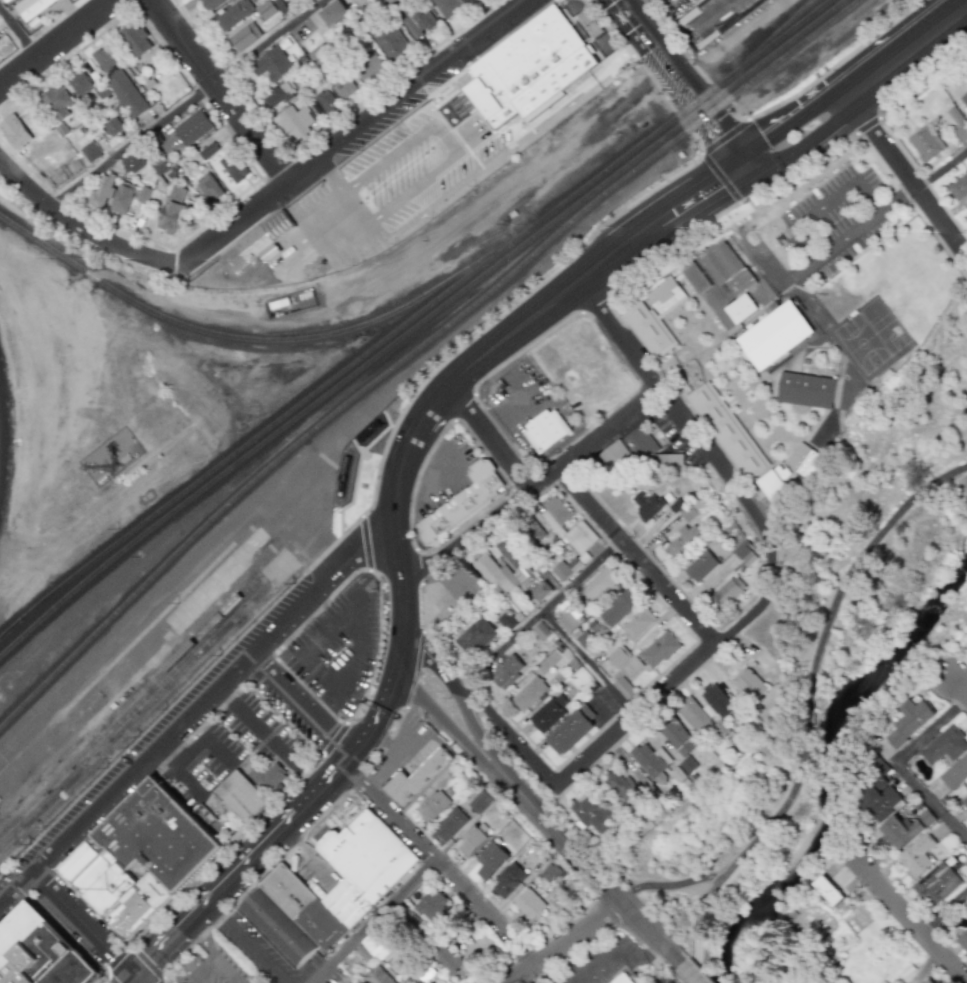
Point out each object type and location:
building: (467, 0)
building: (210, 3)
building: (447, 6)
building: (32, 8)
building: (264, 10)
building: (332, 12)
building: (232, 15)
road: (712, 15)
building: (418, 21)
road: (19, 32)
road: (586, 32)
building: (244, 36)
building: (388, 39)
building: (135, 40)
building: (0, 42)
railway: (767, 42)
road: (57, 43)
building: (104, 58)
building: (270, 63)
building: (371, 66)
building: (528, 69)
building: (331, 71)
road: (685, 82)
building: (80, 83)
road: (859, 88)
road: (221, 91)
building: (278, 93)
building: (126, 94)
building: (965, 98)
building: (57, 102)
building: (326, 102)
road: (189, 103)
building: (118, 113)
building: (294, 121)
building: (959, 124)
building: (113, 127)
building: (192, 128)
building: (14, 131)
traffic signals: (723, 131)
road: (354, 133)
building: (926, 143)
traffic signals: (773, 149)
building: (207, 150)
building: (90, 152)
building: (132, 163)
building: (233, 167)
road: (941, 169)
building: (63, 172)
road: (906, 177)
road: (444, 179)
traffic signals: (717, 185)
building: (208, 187)
building: (959, 188)
building: (101, 191)
road: (706, 192)
building: (142, 194)
building: (122, 196)
road: (899, 201)
road: (827, 205)
building: (173, 210)
road: (725, 210)
road: (82, 226)
road: (852, 237)
building: (257, 243)
road: (764, 257)
road: (803, 274)
building: (695, 277)
building: (731, 279)
road: (812, 301)
railway: (412, 317)
building: (655, 318)
railway: (418, 324)
building: (774, 336)
railway: (265, 340)
road: (498, 344)
railway: (417, 350)
building: (807, 390)
road: (514, 393)
road: (670, 403)
building: (545, 430)
building: (729, 430)
road: (491, 437)
building: (639, 452)
building: (807, 459)
building: (778, 482)
road: (534, 488)
building: (464, 504)
building: (648, 505)
building: (556, 513)
building: (533, 531)
building: (684, 541)
building: (580, 544)
building: (509, 553)
building: (747, 553)
road: (638, 557)
building: (703, 566)
building: (562, 571)
building: (503, 575)
building: (601, 582)
building: (542, 591)
building: (731, 592)
building: (620, 608)
road: (541, 615)
road: (358, 618)
building: (507, 621)
building: (571, 621)
building: (641, 624)
building: (542, 631)
building: (476, 637)
parking lot: (338, 646)
building: (662, 650)
building: (620, 657)
road: (349, 658)
road: (592, 664)
road: (694, 666)
building: (508, 672)
building: (629, 677)
building: (753, 684)
road: (959, 686)
railway: (127, 693)
road: (460, 694)
building: (529, 695)
building: (723, 703)
railway: (130, 704)
road: (306, 709)
road: (199, 710)
building: (551, 713)
road: (805, 713)
railway: (133, 714)
building: (699, 716)
building: (911, 721)
railway: (136, 723)
road: (446, 723)
building: (573, 729)
road: (934, 732)
road: (510, 734)
road: (203, 736)
building: (681, 737)
road: (272, 740)
road: (406, 745)
building: (944, 746)
road: (393, 759)
river: (831, 762)
building: (656, 763)
road: (901, 763)
building: (691, 764)
road: (180, 770)
building: (955, 773)
building: (267, 776)
road: (336, 778)
building: (417, 778)
building: (622, 785)
building: (241, 796)
building: (877, 799)
building: (480, 802)
road: (934, 802)
building: (964, 802)
building: (432, 806)
building: (593, 813)
building: (450, 824)
building: (905, 828)
building: (474, 840)
building: (918, 856)
building: (141, 858)
building: (491, 860)
road: (588, 865)
road: (443, 866)
building: (552, 873)
building: (508, 880)
building: (832, 881)
building: (937, 882)
road: (667, 887)
building: (360, 889)
building: (429, 905)
building: (529, 906)
road: (944, 913)
road: (375, 921)
road: (912, 922)
road: (83, 924)
road: (580, 934)
building: (963, 940)
road: (245, 944)
building: (367, 948)
building: (38, 952)
road: (617, 952)
traffic signals: (113, 954)
traffic signals: (155, 957)
building: (445, 959)
road: (688, 973)
building: (424, 974)
road: (522, 974)
building: (377, 975)
road: (538, 976)
building: (622, 978)
road: (131, 979)
road: (138, 979)
building: (930, 980)

